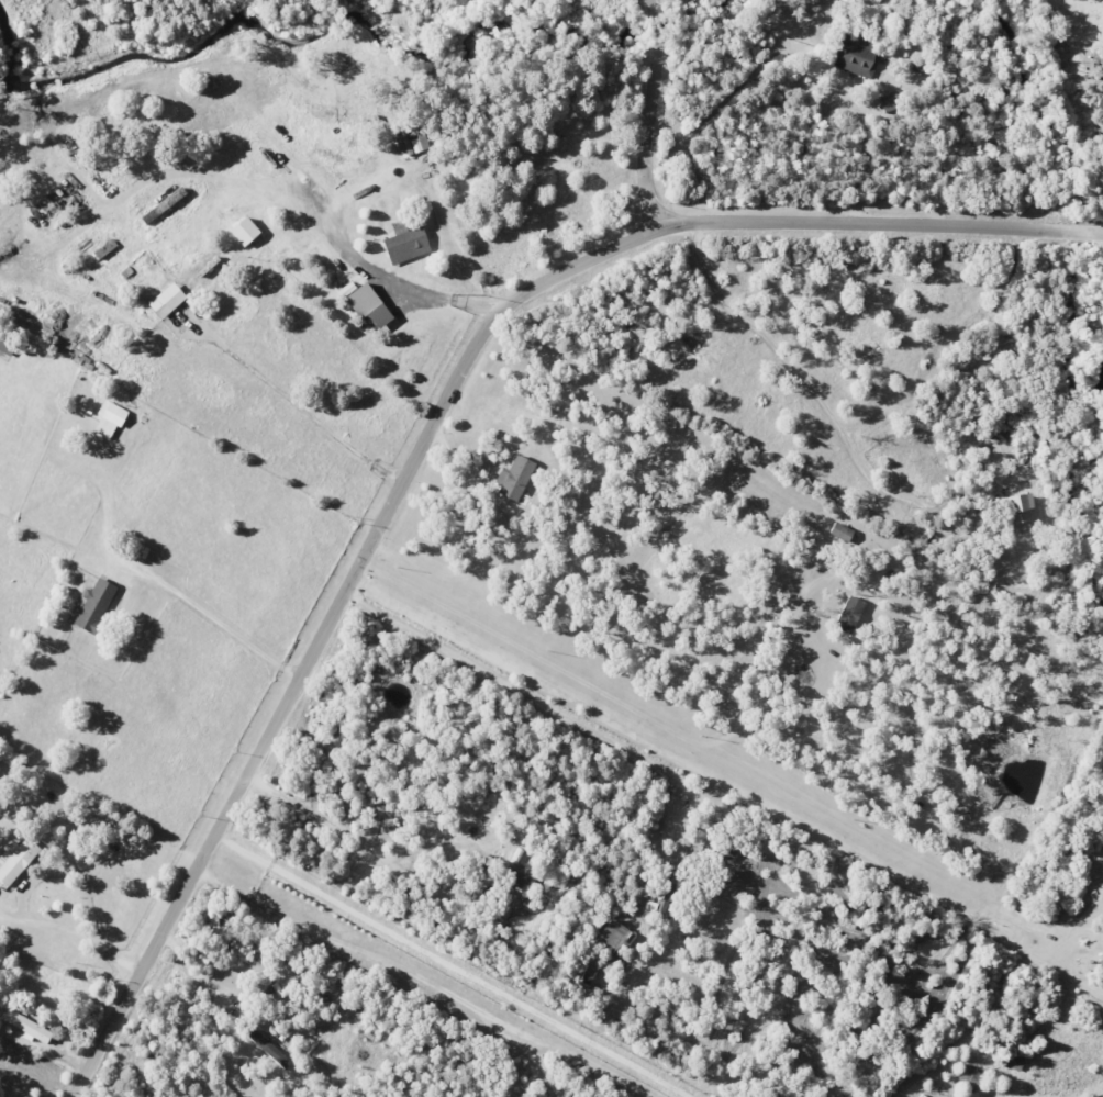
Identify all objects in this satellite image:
building: (858, 57)
building: (888, 102)
road: (649, 115)
building: (411, 143)
road: (857, 161)
building: (161, 204)
building: (241, 231)
building: (403, 243)
building: (103, 248)
road: (359, 262)
building: (164, 301)
building: (365, 305)
road: (814, 394)
road: (294, 408)
building: (108, 419)
road: (435, 428)
building: (511, 477)
building: (1017, 512)
building: (93, 605)
building: (847, 615)
road: (216, 624)
road: (523, 695)
road: (621, 704)
road: (709, 770)
road: (364, 844)
building: (16, 860)
building: (515, 875)
building: (658, 900)
building: (610, 934)
road: (453, 967)
road: (199, 975)
building: (29, 1027)
building: (268, 1048)
building: (1015, 1061)
building: (968, 1076)

